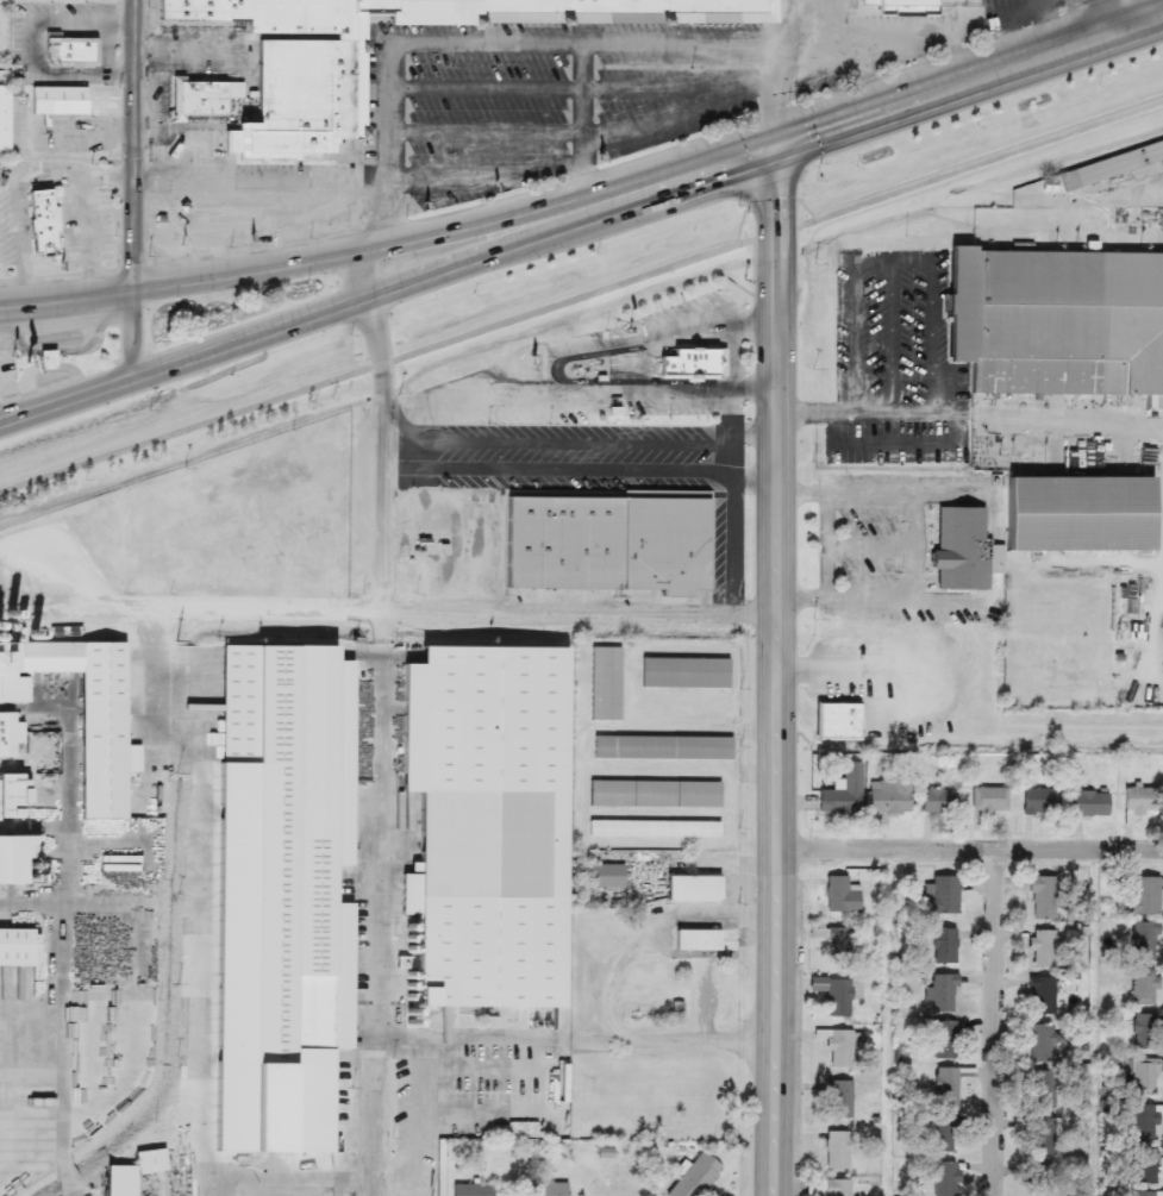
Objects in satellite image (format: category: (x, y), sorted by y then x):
building: (909, 5)
building: (720, 8)
building: (634, 11)
building: (255, 12)
road: (533, 44)
building: (76, 46)
road: (969, 77)
building: (351, 86)
road: (486, 89)
building: (204, 94)
building: (294, 100)
building: (57, 101)
building: (4, 123)
road: (583, 125)
road: (487, 132)
traffic signals: (775, 145)
building: (1150, 152)
road: (110, 169)
road: (675, 175)
road: (133, 188)
road: (258, 194)
road: (770, 195)
road: (807, 200)
road: (21, 209)
building: (44, 221)
road: (740, 221)
road: (88, 234)
road: (287, 257)
road: (581, 290)
building: (1059, 317)
road: (290, 323)
road: (71, 345)
parking lot: (898, 356)
building: (694, 361)
parking lot: (605, 367)
road: (554, 371)
road: (969, 405)
road: (599, 444)
road: (406, 452)
road: (725, 458)
road: (596, 470)
building: (618, 489)
road: (801, 490)
road: (873, 497)
building: (1076, 514)
building: (425, 536)
building: (567, 540)
road: (874, 541)
building: (669, 544)
building: (964, 545)
road: (826, 547)
road: (920, 550)
road: (800, 600)
road: (873, 600)
road: (434, 605)
building: (689, 666)
road: (859, 669)
road: (776, 670)
building: (609, 680)
building: (81, 712)
road: (381, 716)
building: (842, 718)
building: (7, 735)
building: (665, 741)
building: (658, 788)
building: (7, 794)
building: (840, 794)
building: (888, 799)
building: (988, 801)
building: (1038, 801)
building: (937, 802)
building: (1137, 803)
building: (1088, 804)
building: (658, 822)
building: (550, 834)
road: (970, 845)
building: (14, 854)
building: (601, 877)
road: (202, 883)
building: (286, 885)
building: (690, 888)
building: (942, 895)
building: (840, 896)
building: (1143, 896)
building: (1042, 898)
building: (695, 941)
building: (1143, 943)
building: (838, 944)
building: (943, 946)
building: (14, 947)
building: (1040, 950)
building: (1143, 988)
building: (939, 994)
building: (1039, 997)
road: (994, 1020)
building: (1143, 1032)
road: (574, 1033)
building: (942, 1040)
building: (1040, 1044)
building: (837, 1048)
building: (1144, 1077)
road: (65, 1087)
building: (945, 1088)
building: (1042, 1090)
building: (838, 1100)
building: (1143, 1122)
building: (938, 1134)
building: (1042, 1136)
building: (837, 1151)
building: (1143, 1166)
building: (130, 1172)
building: (695, 1175)
road: (286, 1178)
building: (944, 1179)
building: (1039, 1182)
building: (827, 1188)
building: (543, 1189)
building: (470, 1190)
building: (1142, 1194)

